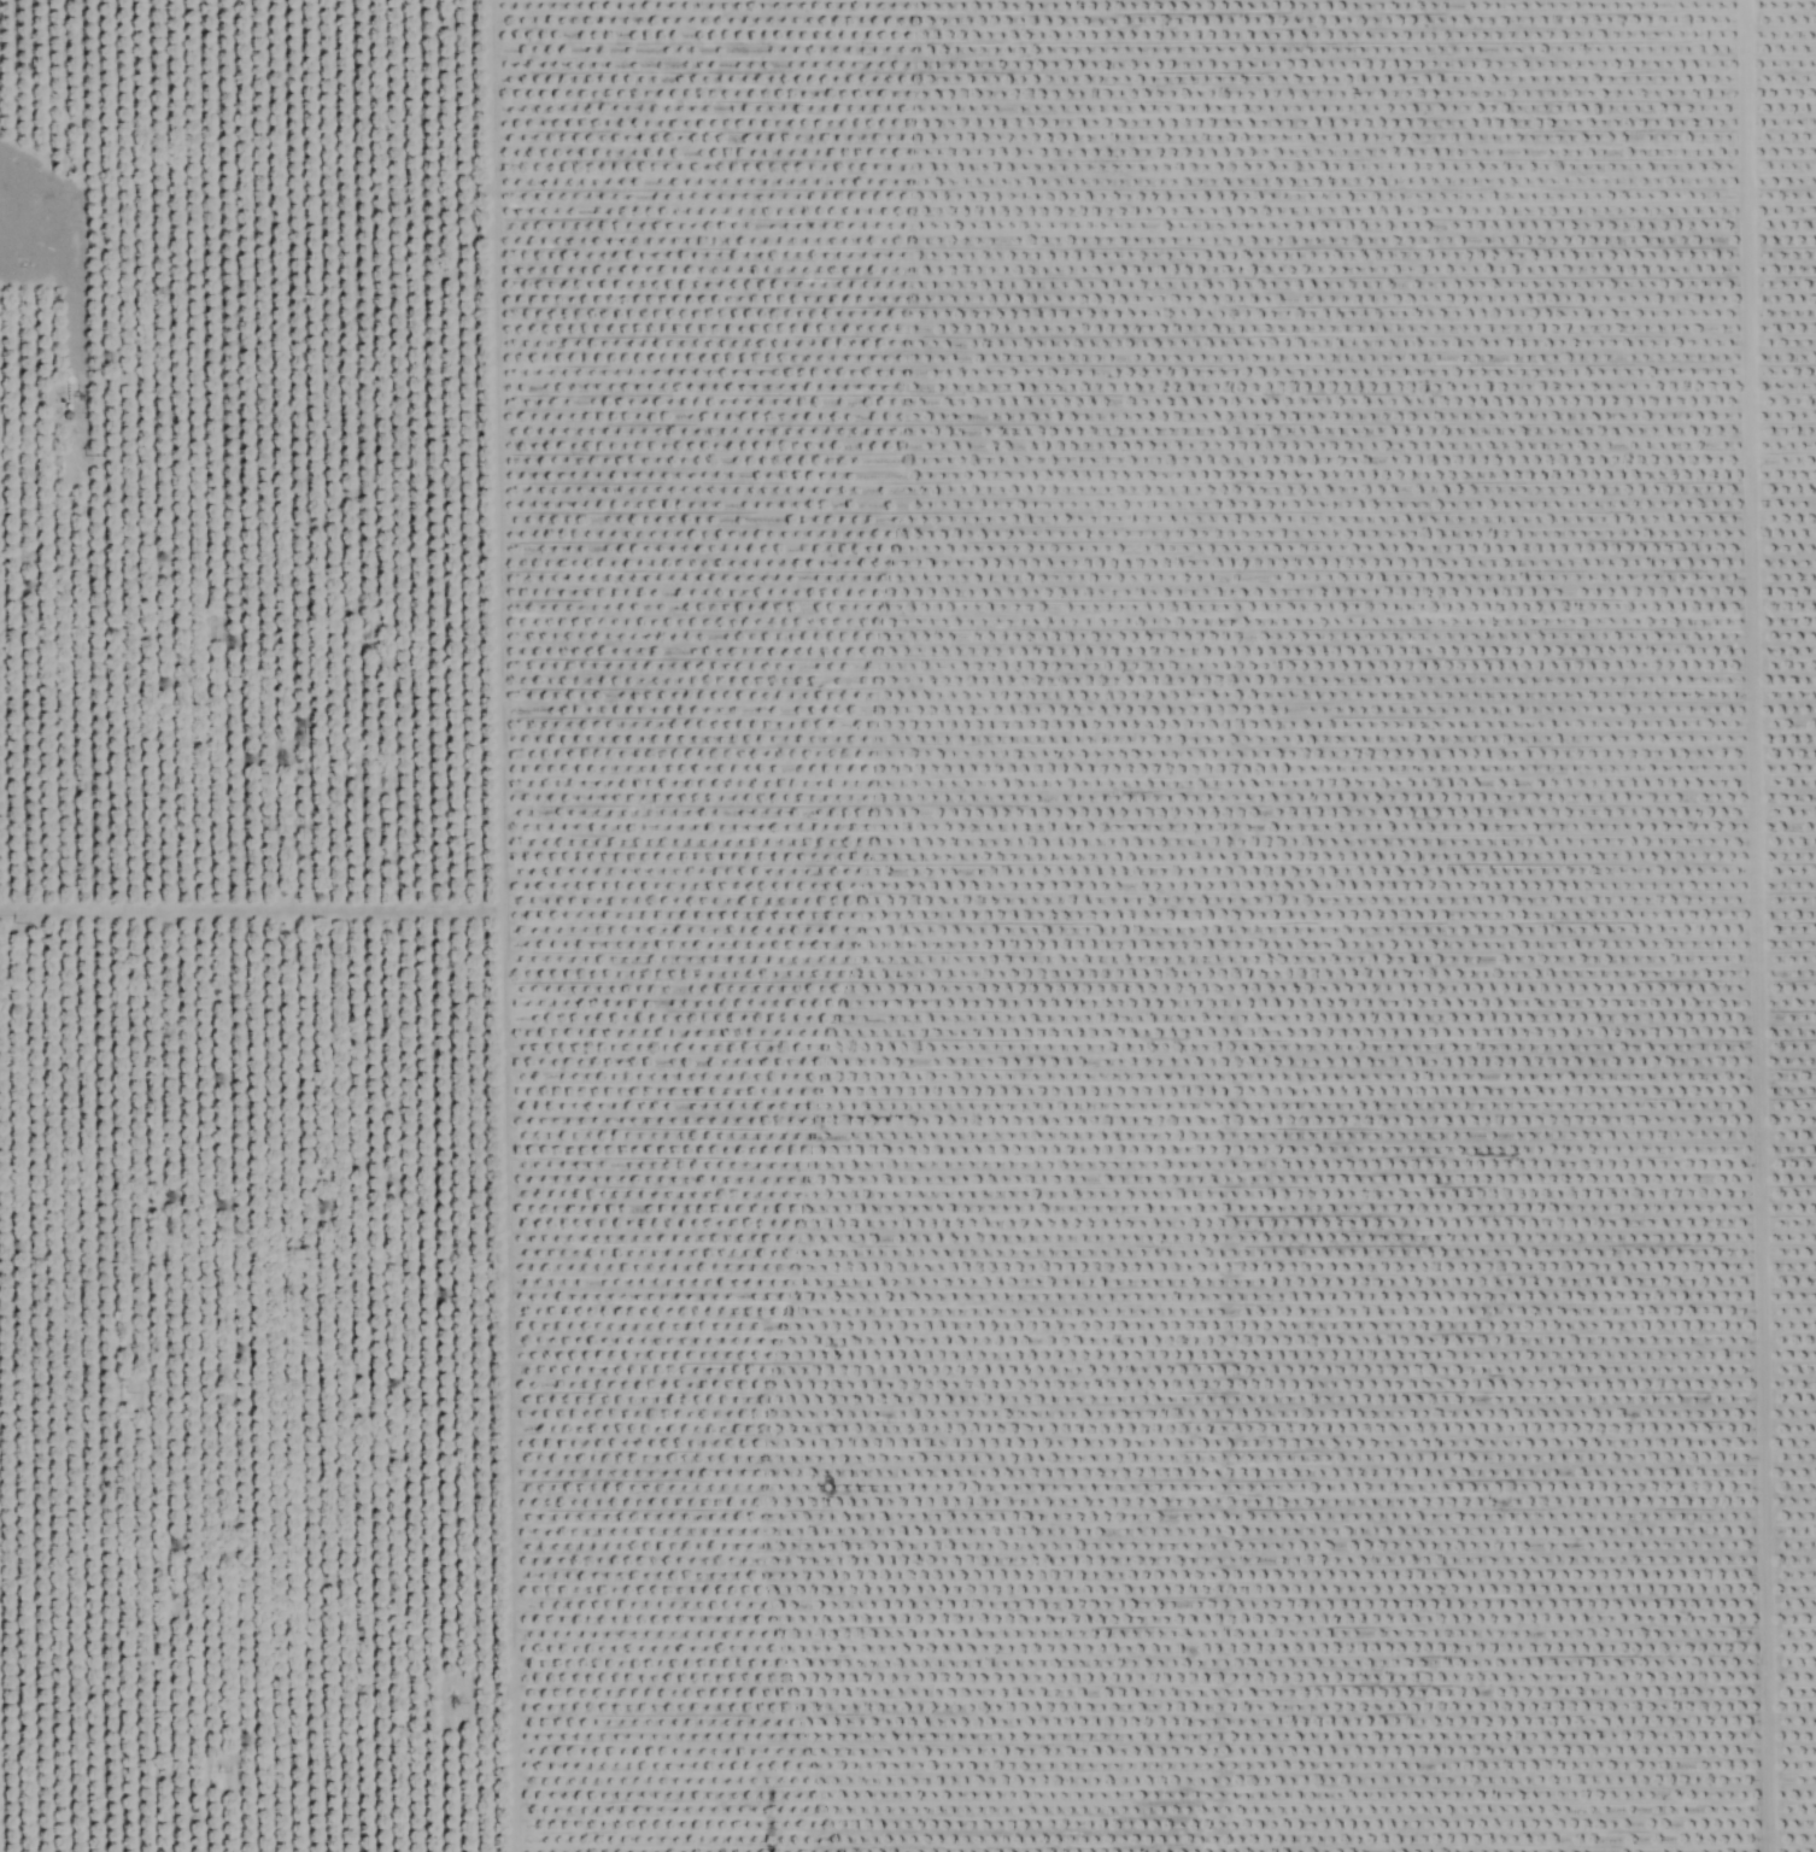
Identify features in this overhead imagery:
road: (35, 251)
crop: (908, 926)

